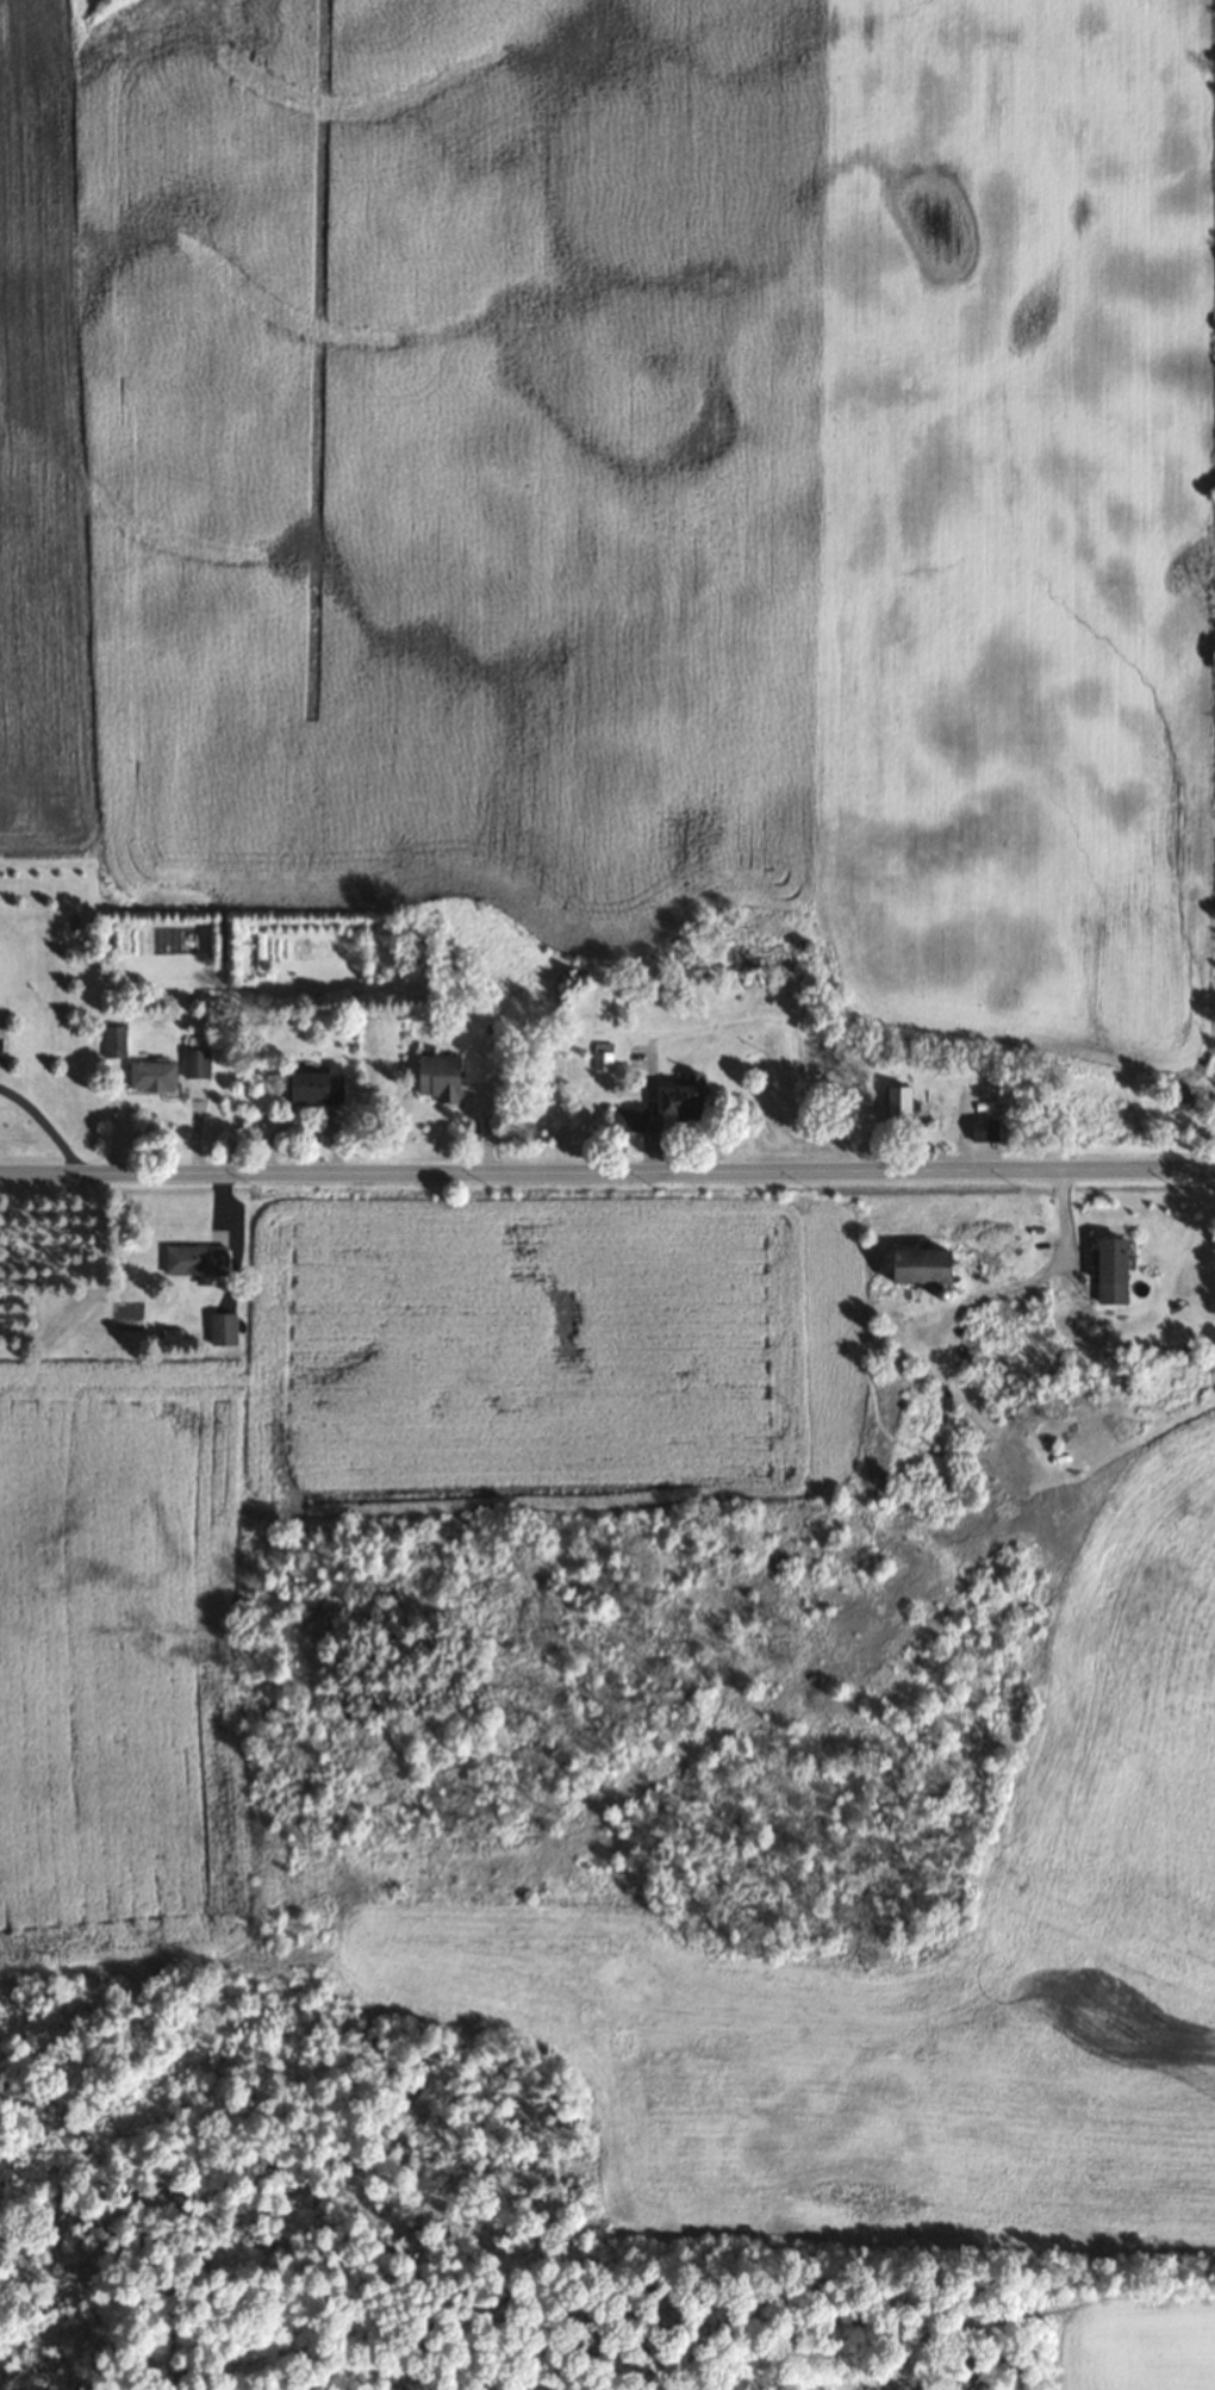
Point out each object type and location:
building: (118, 1052)
building: (603, 1056)
building: (195, 1063)
building: (150, 1075)
building: (438, 1077)
building: (314, 1085)
building: (679, 1096)
building: (899, 1106)
building: (619, 1120)
building: (984, 1128)
road: (607, 1172)
building: (194, 1259)
building: (916, 1265)
building: (1109, 1270)
building: (222, 1328)

